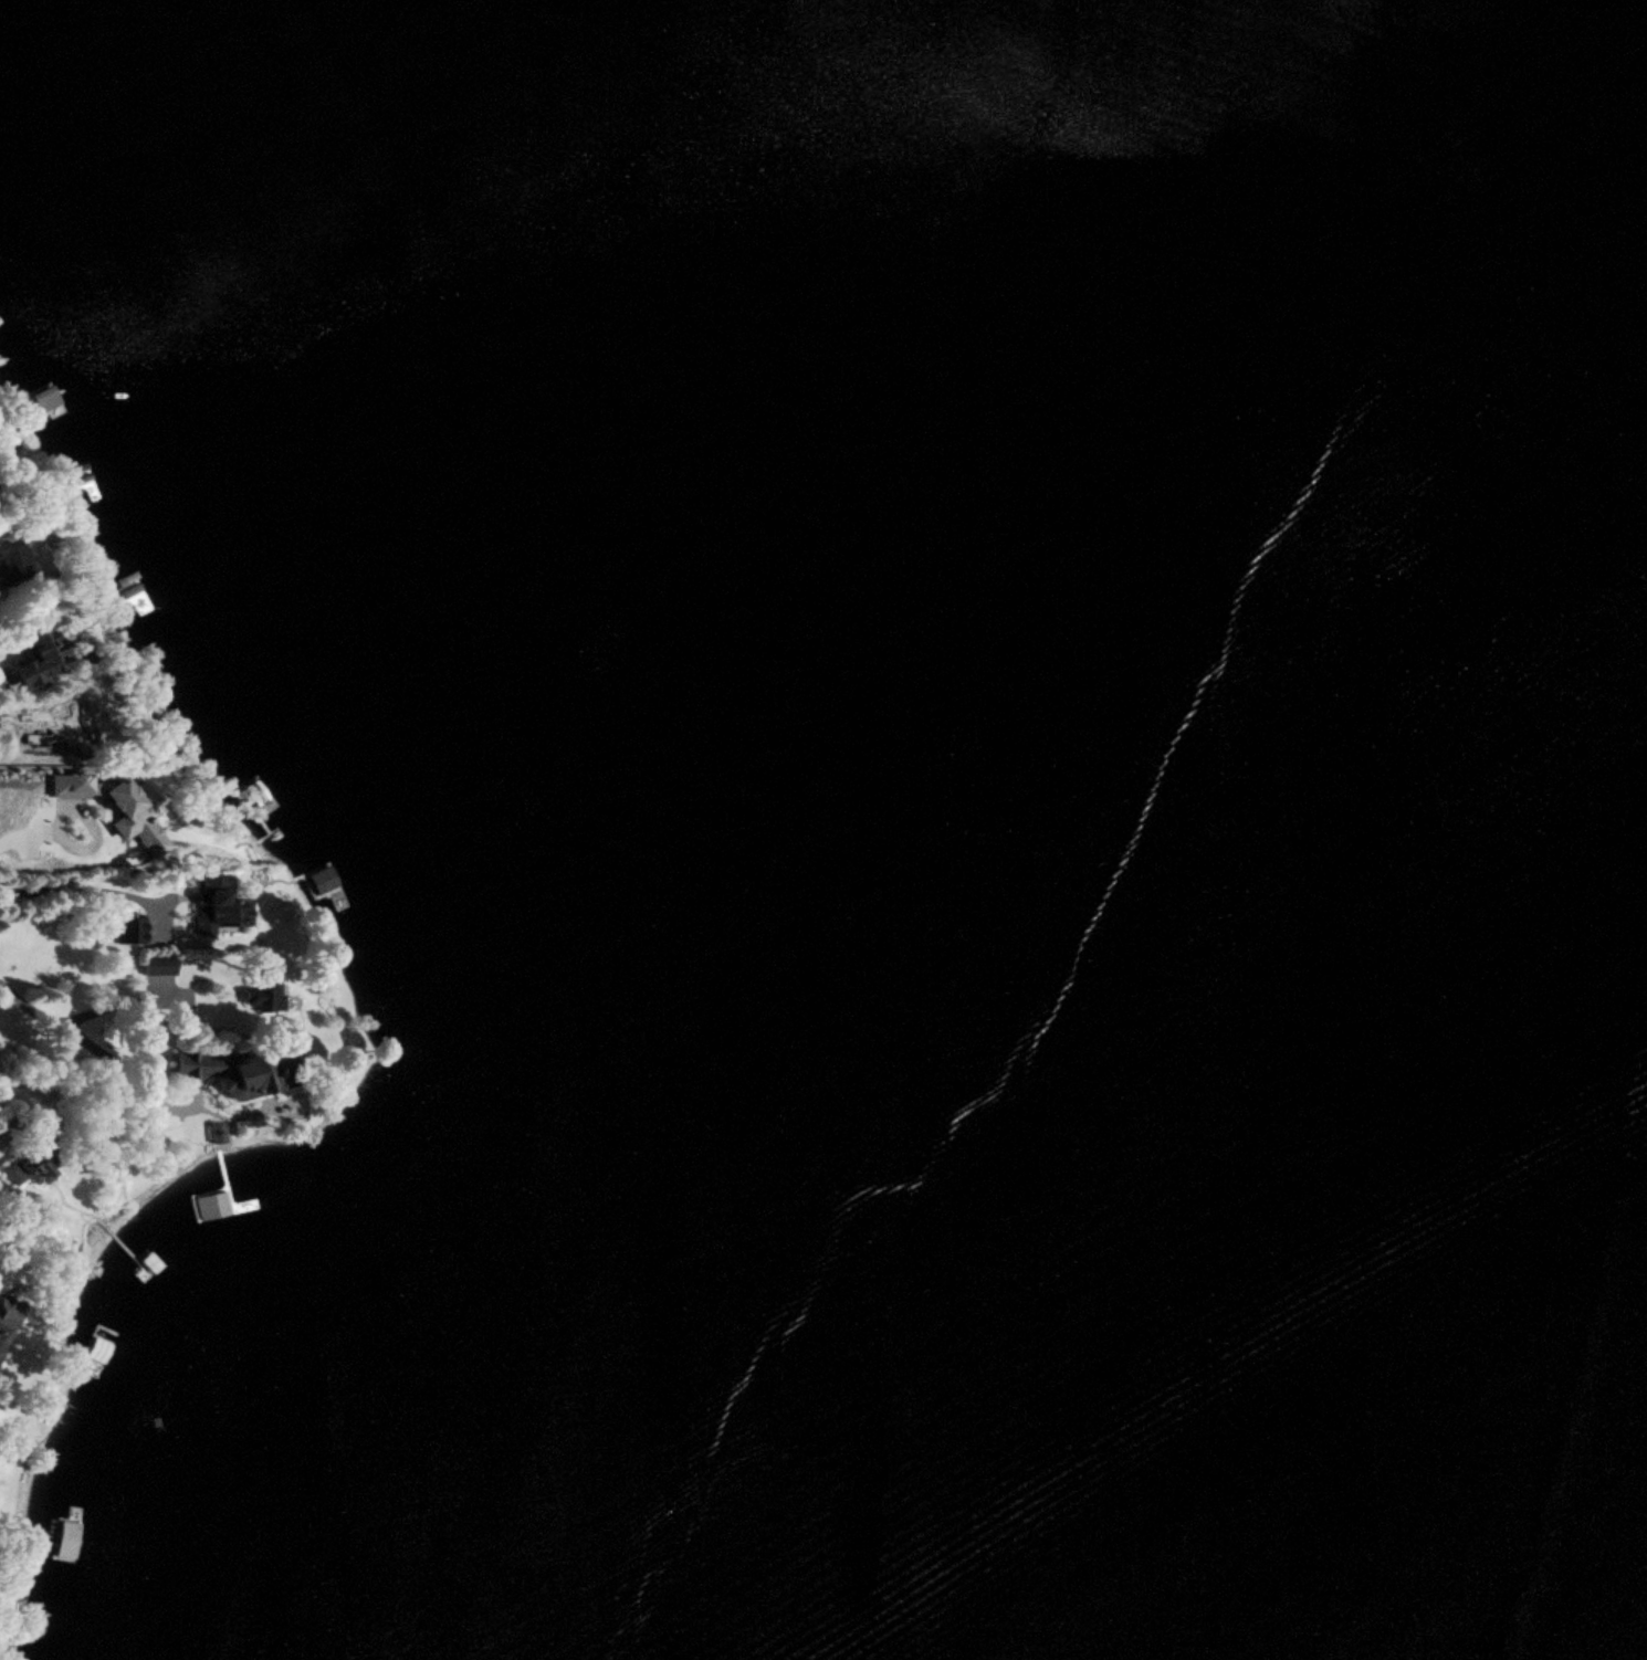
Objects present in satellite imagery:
building: (44, 401)
building: (13, 560)
building: (42, 660)
building: (158, 964)
building: (264, 1008)
building: (233, 1073)
building: (216, 1132)
building: (30, 1167)
building: (7, 1320)

